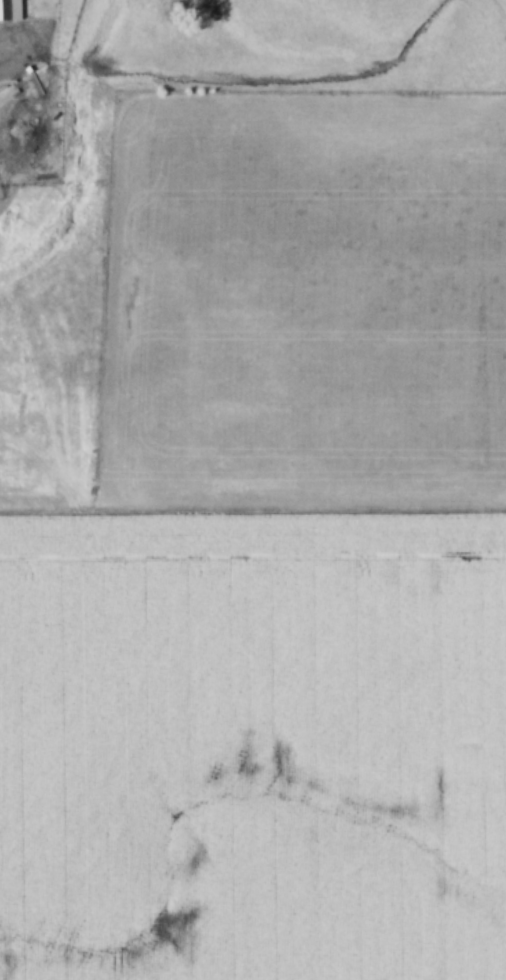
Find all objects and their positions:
building: (11, 10)

